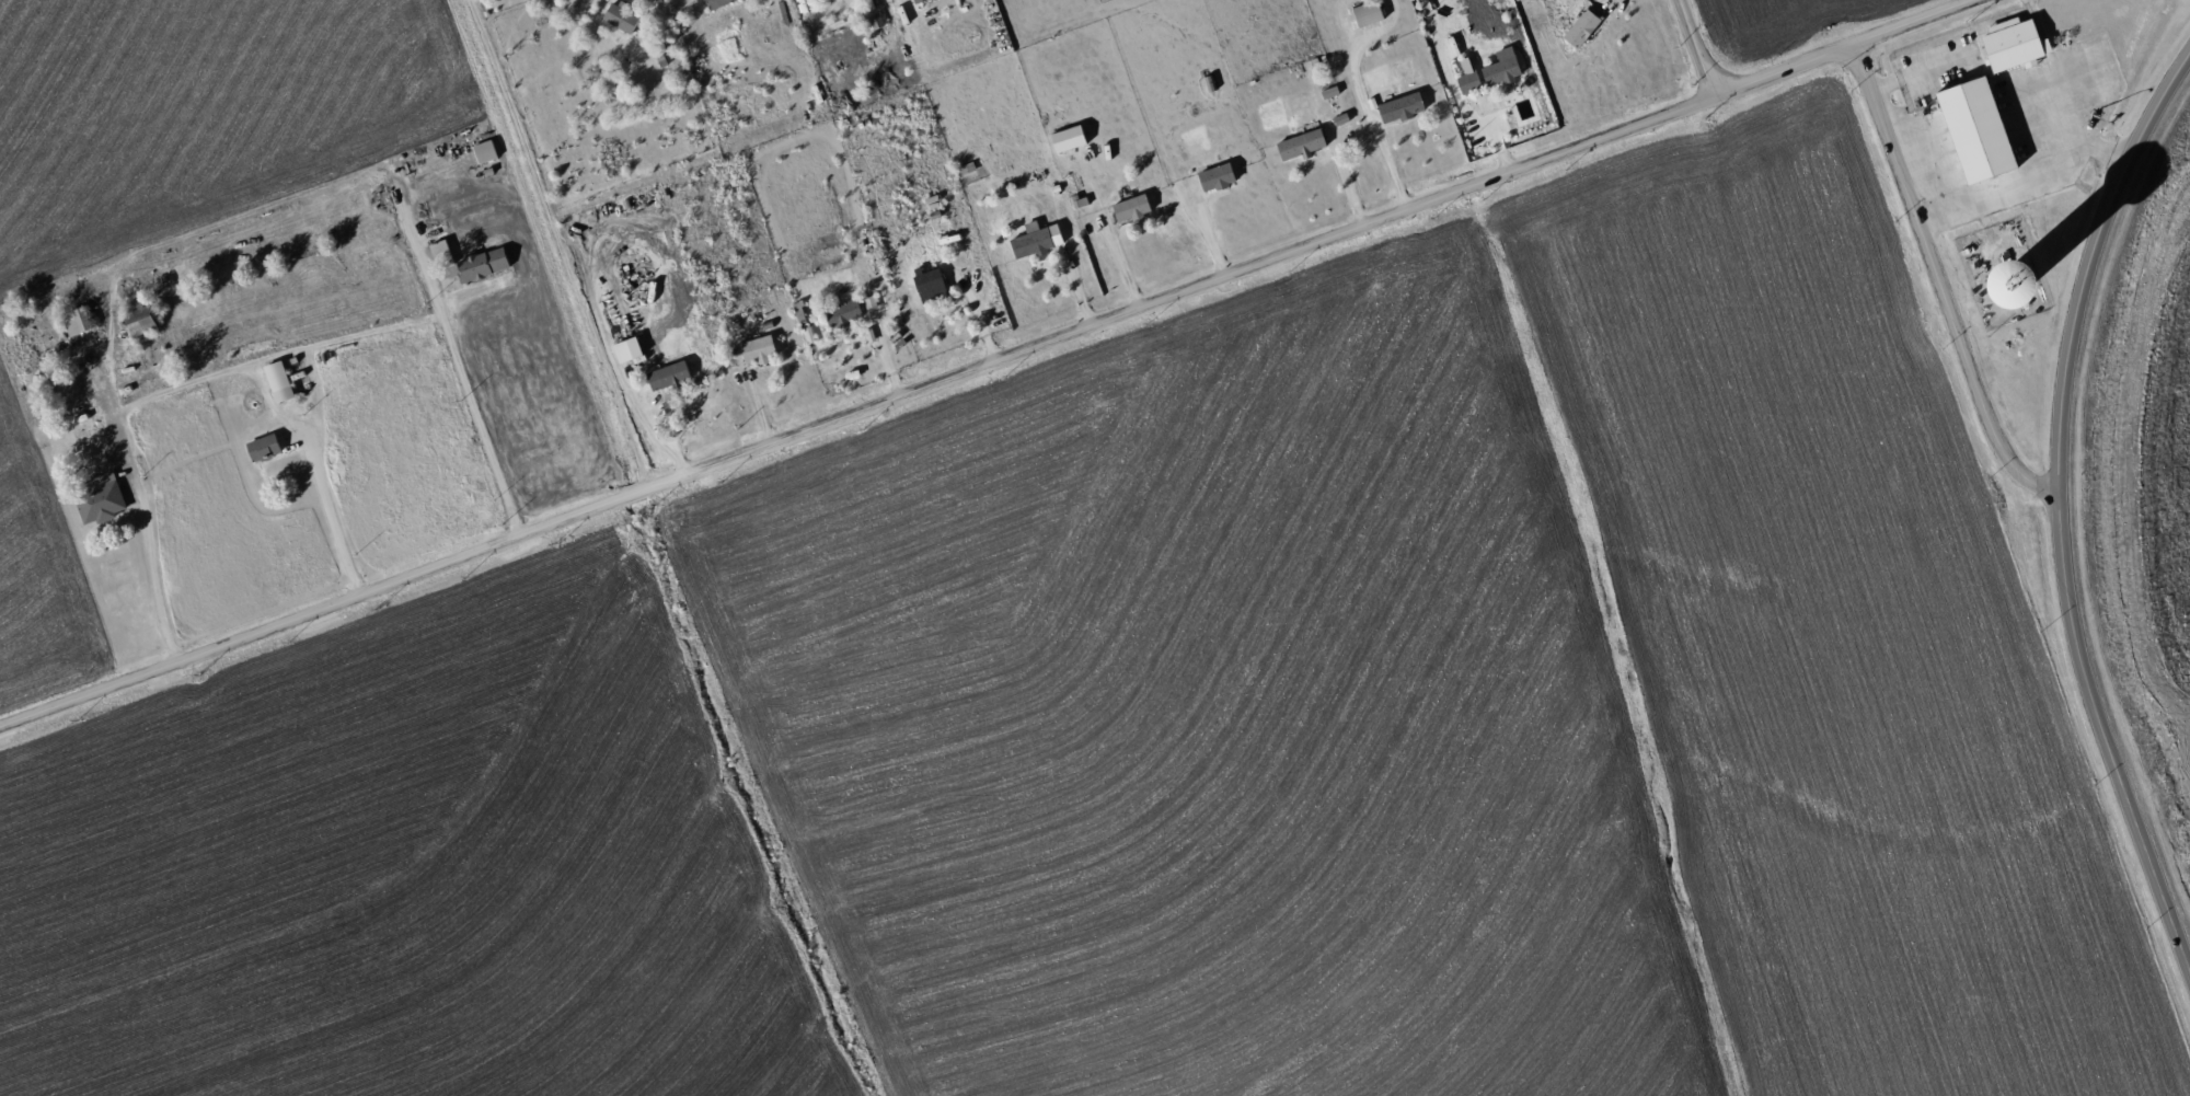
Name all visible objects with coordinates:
building: (918, 1)
building: (717, 3)
building: (1368, 13)
building: (621, 18)
building: (876, 21)
road: (1913, 22)
building: (1581, 28)
road: (2042, 39)
building: (2010, 44)
road: (1695, 46)
building: (1501, 68)
road: (1782, 69)
road: (1918, 71)
building: (1466, 77)
building: (1401, 107)
road: (2007, 109)
road: (2072, 114)
building: (1974, 130)
building: (1068, 138)
building: (1300, 145)
building: (484, 151)
building: (1215, 177)
road: (2022, 178)
building: (1131, 208)
building: (1036, 240)
road: (416, 243)
building: (440, 250)
building: (482, 264)
road: (1940, 280)
building: (930, 285)
building: (2009, 285)
building: (869, 302)
building: (841, 313)
building: (141, 321)
building: (76, 324)
building: (757, 349)
building: (668, 376)
building: (278, 381)
road: (856, 411)
road: (475, 414)
building: (263, 447)
road: (127, 449)
building: (100, 498)
road: (2056, 512)
road: (333, 522)
road: (155, 588)

